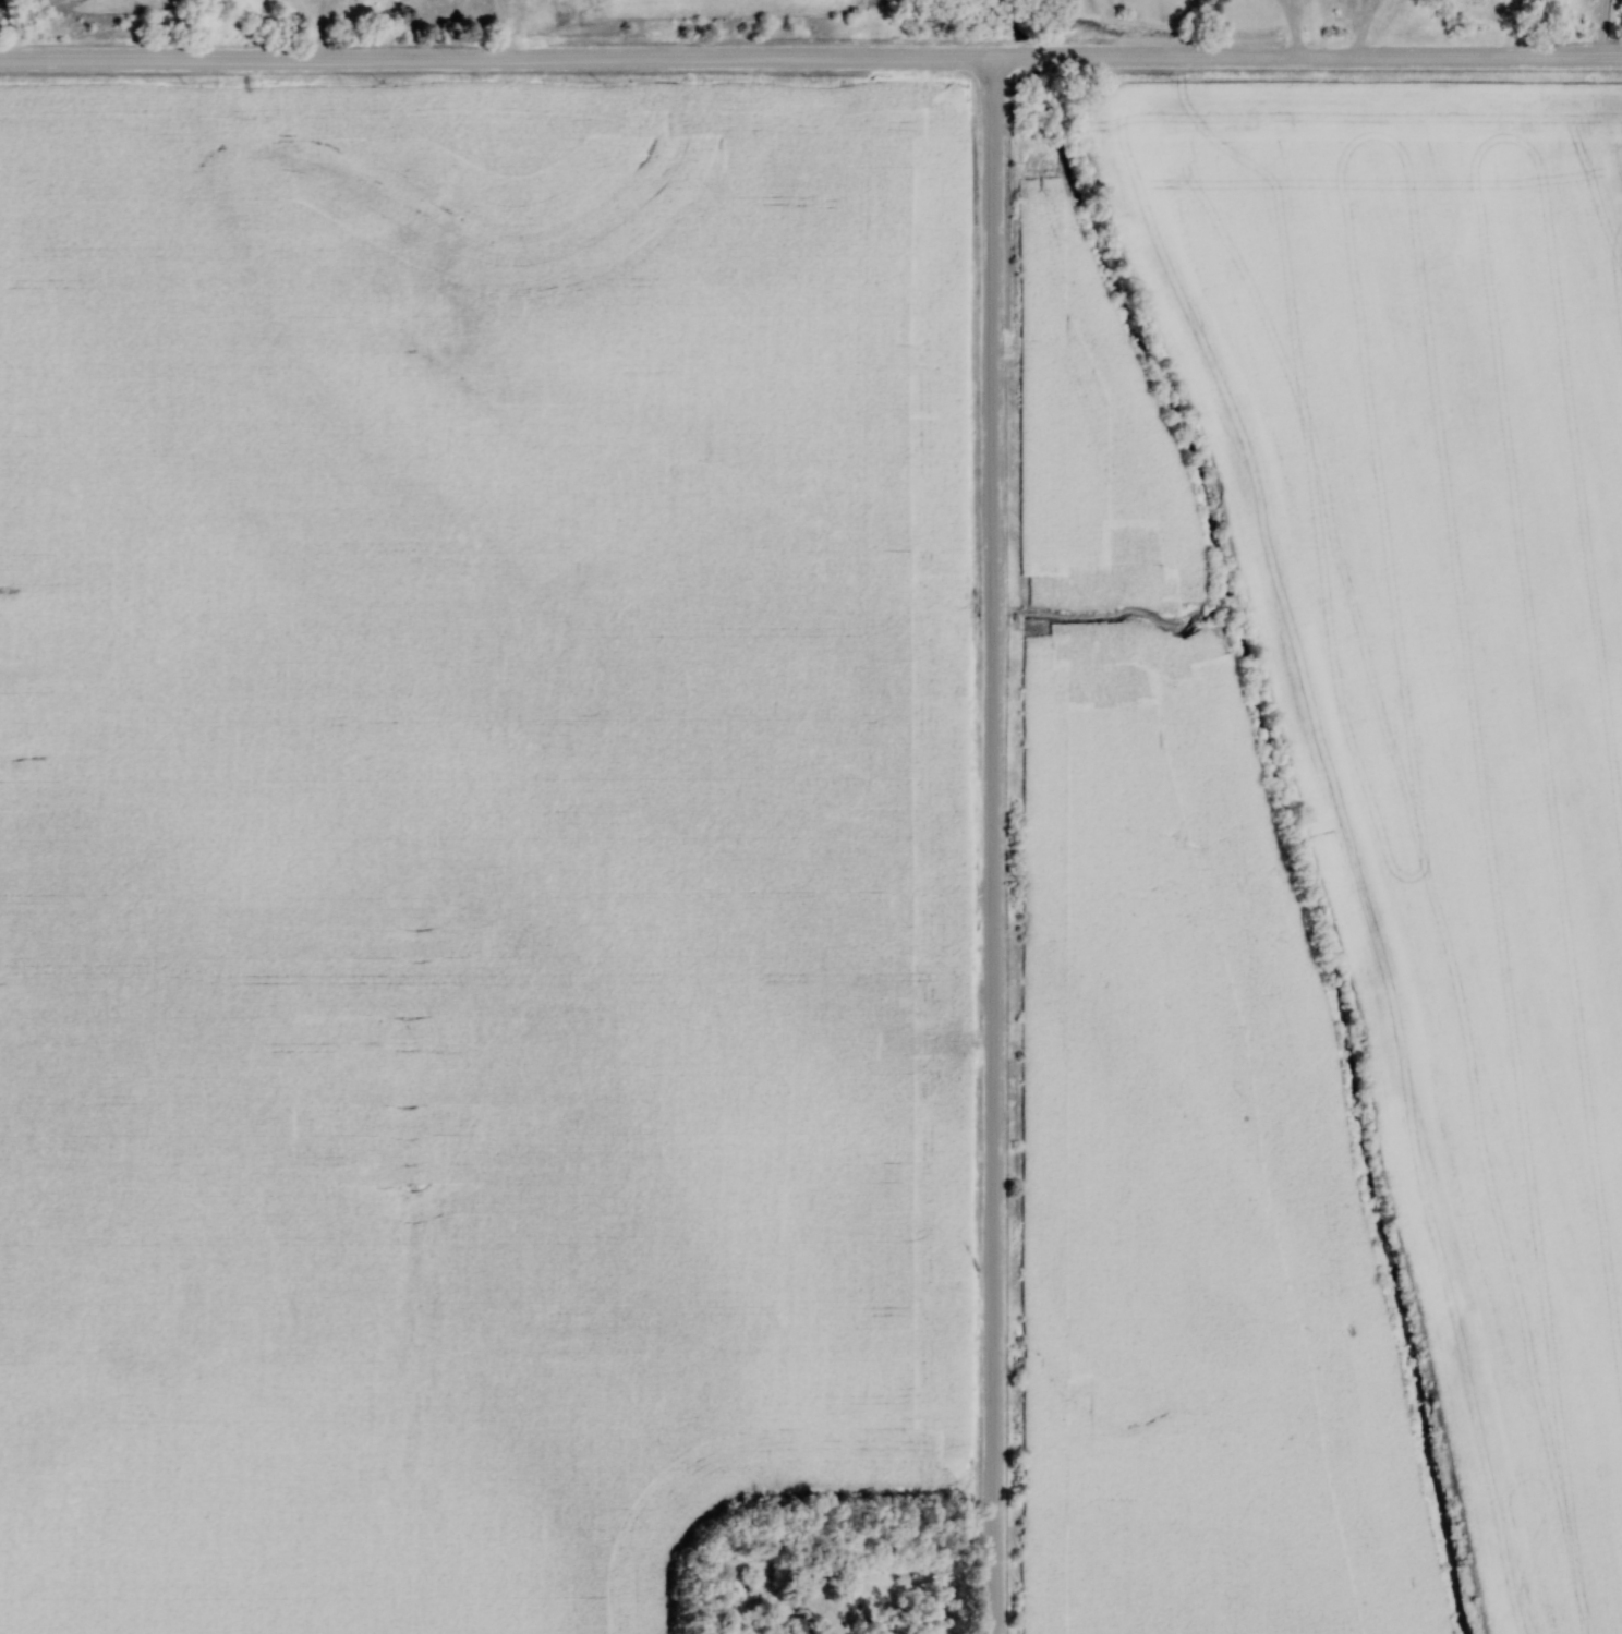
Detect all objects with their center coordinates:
road: (1293, 27)
road: (506, 28)
road: (322, 29)
road: (810, 57)
road: (993, 845)
building: (794, 1625)

